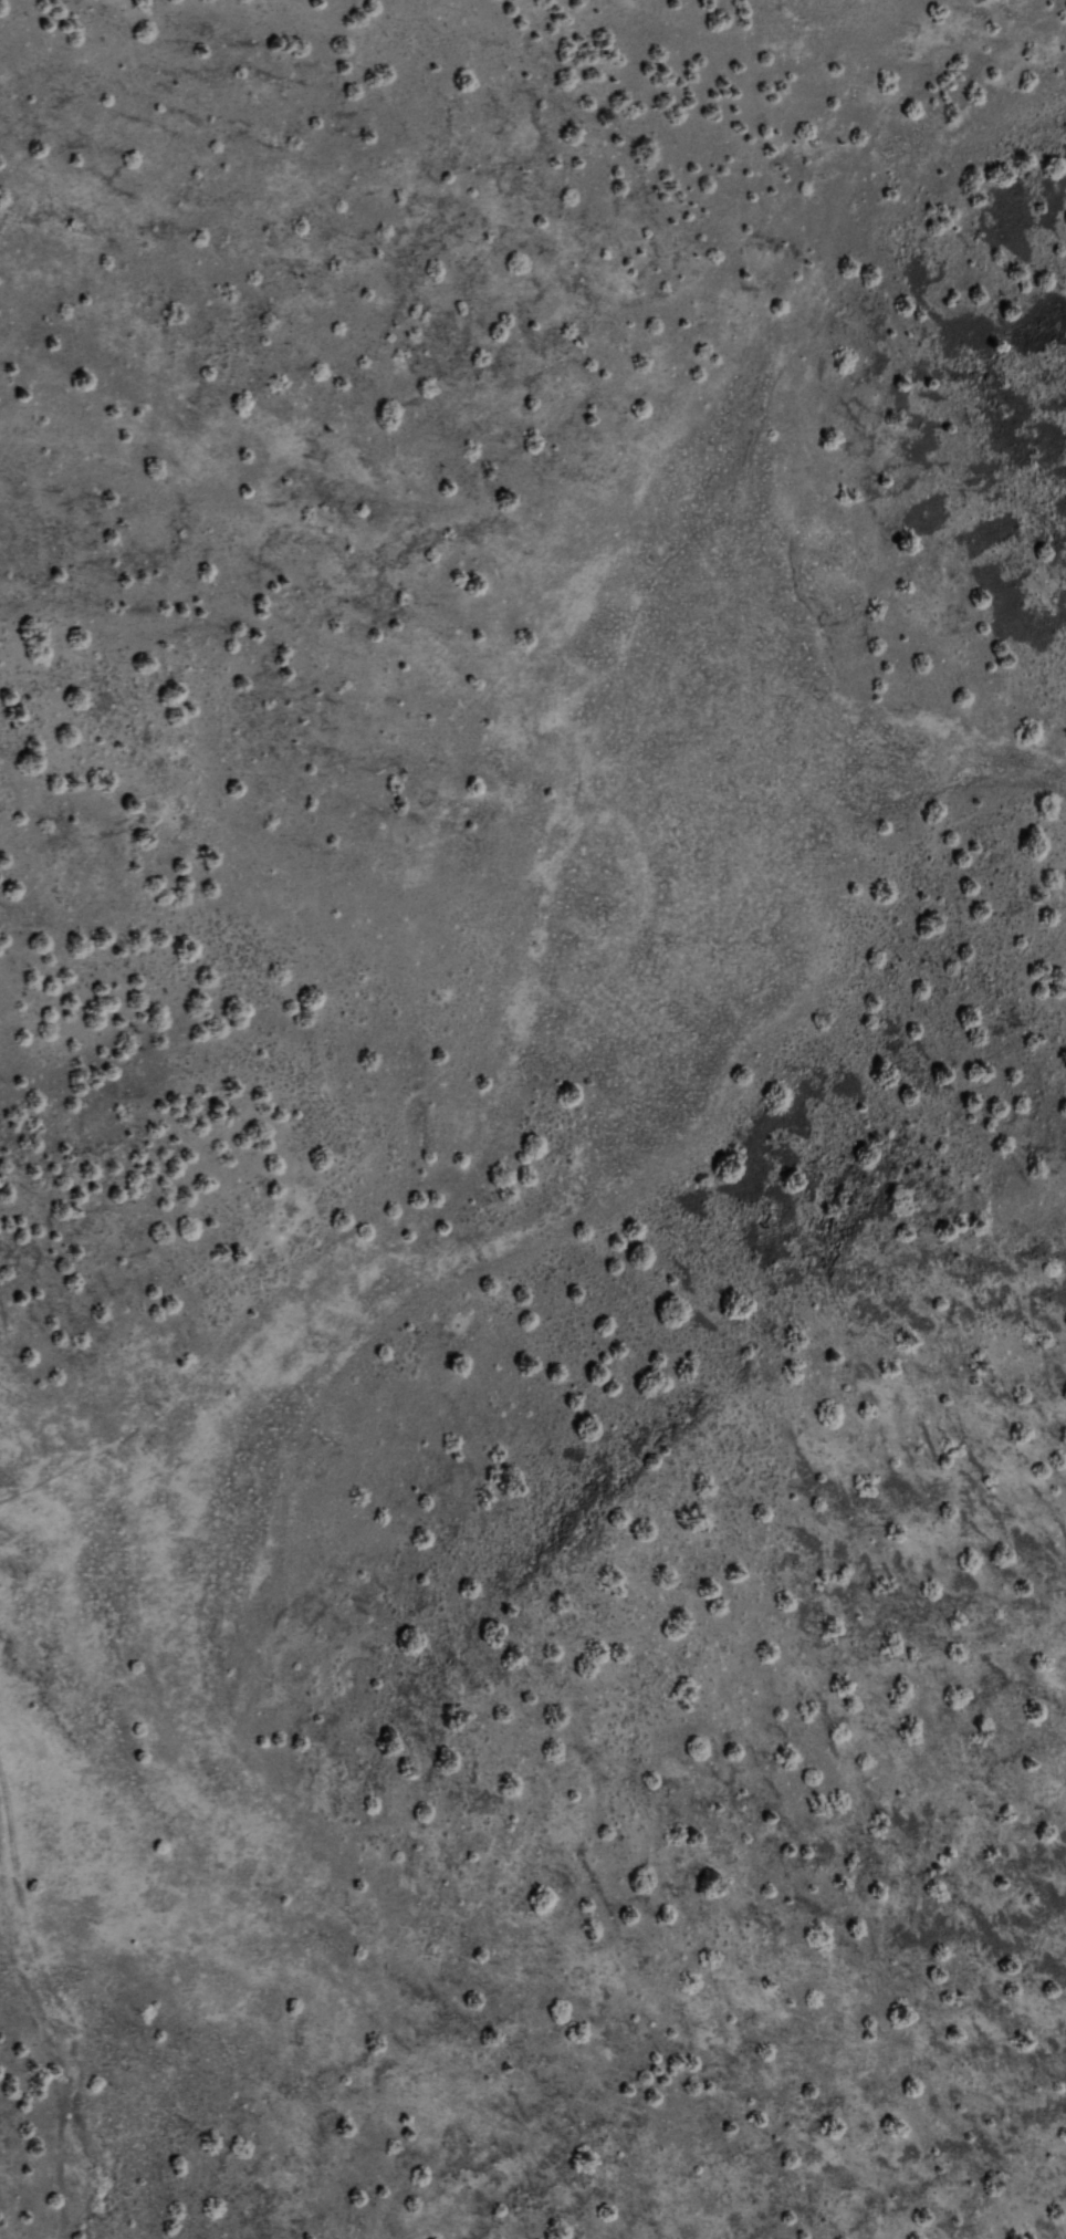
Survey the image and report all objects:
road: (44, 2010)

